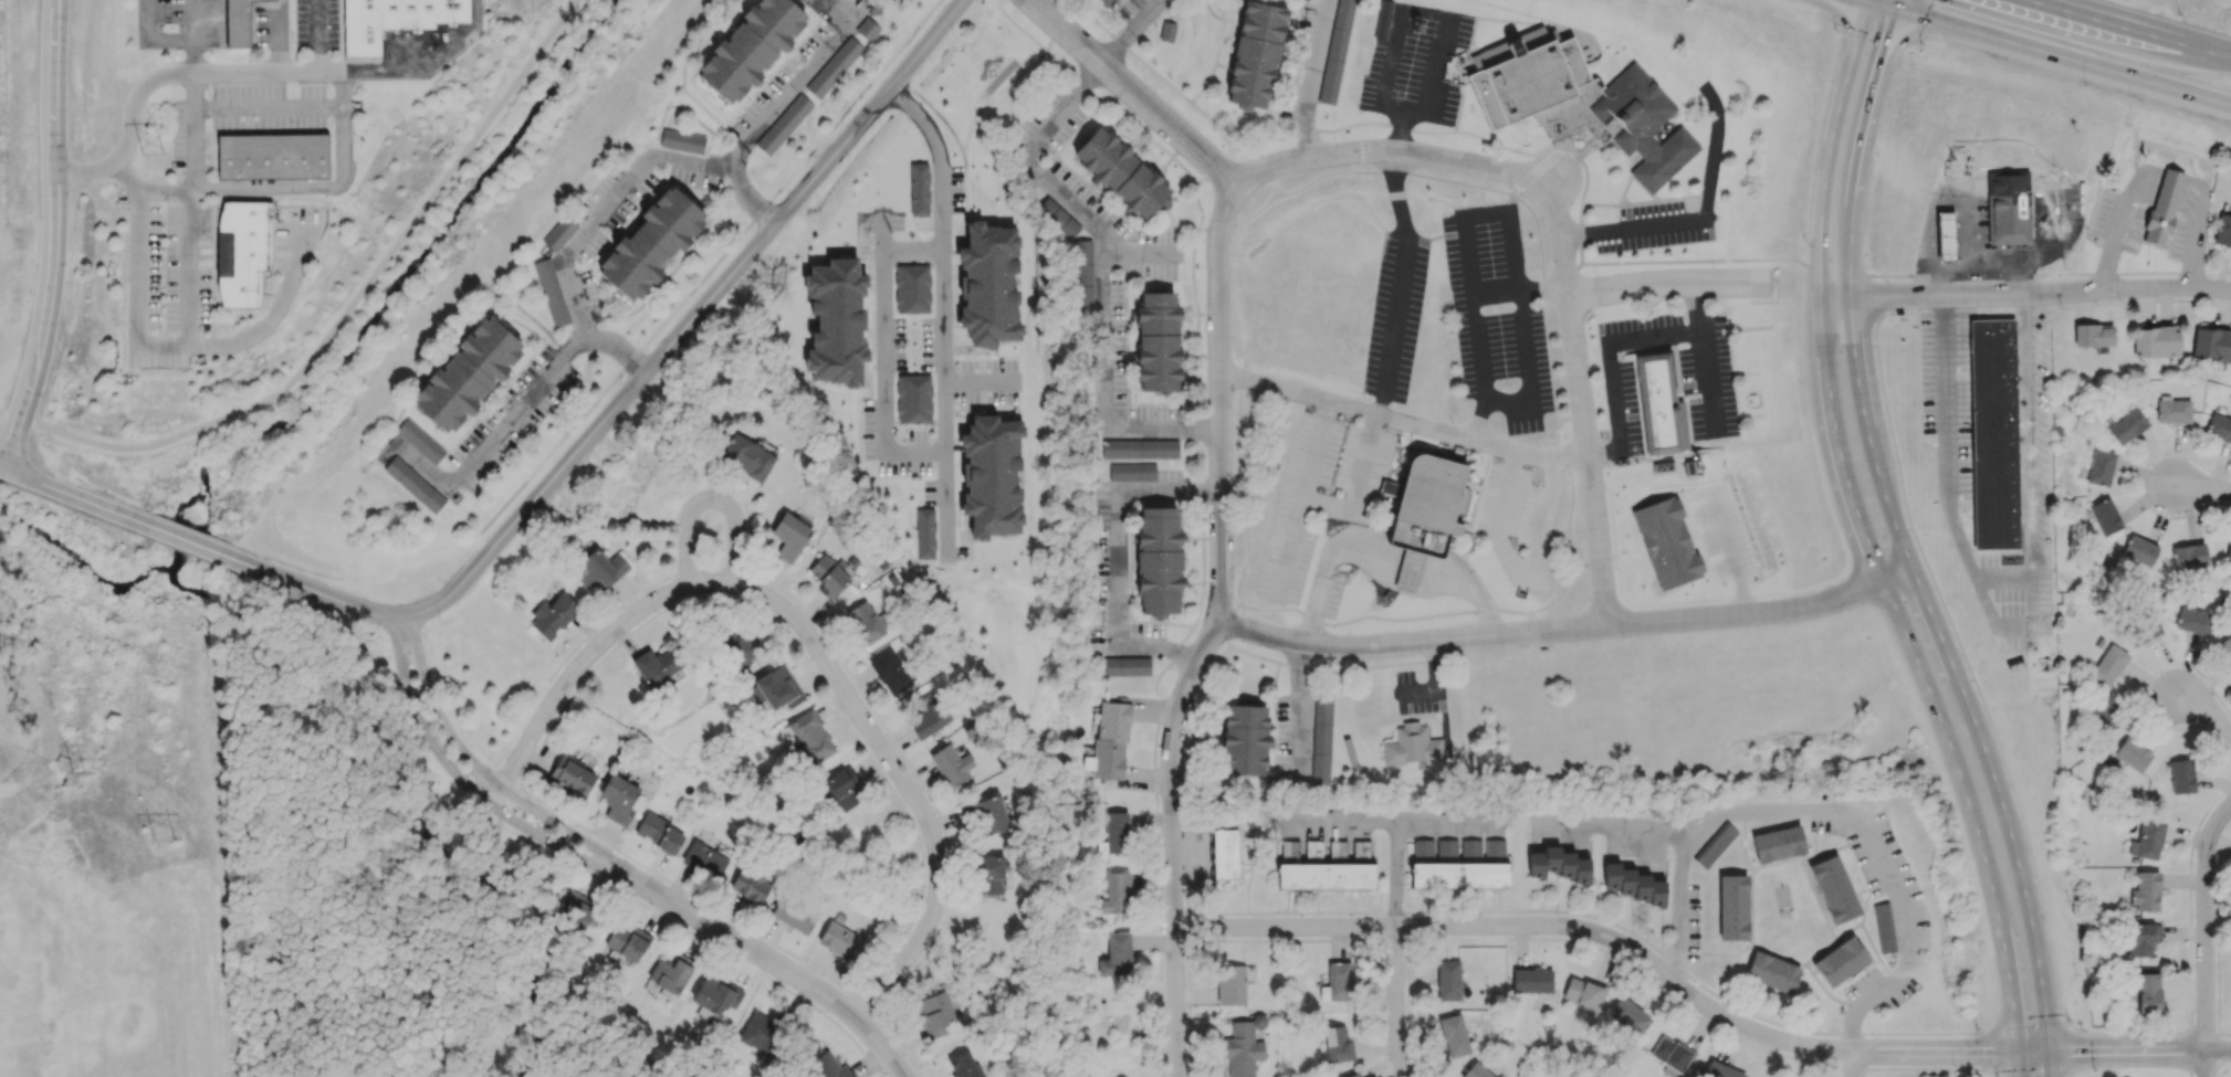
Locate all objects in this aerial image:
road: (893, 1)
road: (1865, 1)
road: (1869, 1)
building: (1107, 2)
traffic signals: (1869, 2)
road: (1897, 4)
traffic signals: (1896, 10)
road: (841, 11)
road: (863, 11)
road: (193, 18)
building: (1382, 19)
building: (392, 20)
building: (237, 23)
building: (867, 29)
road: (2127, 29)
building: (1166, 31)
road: (155, 35)
road: (316, 35)
building: (750, 47)
building: (1337, 51)
road: (2050, 52)
road: (195, 54)
building: (1255, 54)
road: (426, 64)
park: (999, 64)
building: (834, 67)
road: (1313, 74)
road: (167, 75)
road: (795, 98)
building: (1578, 101)
road: (268, 105)
building: (784, 124)
road: (1355, 124)
building: (682, 140)
road: (1360, 144)
road: (1415, 148)
road: (1857, 150)
power tower: (155, 155)
building: (272, 156)
road: (1266, 161)
road: (1826, 168)
road: (1535, 169)
building: (1120, 171)
road: (1350, 171)
road: (2155, 186)
road: (270, 187)
road: (1275, 188)
building: (919, 189)
road: (1064, 194)
building: (2008, 203)
building: (2162, 207)
building: (1058, 218)
road: (609, 219)
road: (1632, 224)
parking lot: (1652, 226)
road: (881, 230)
park: (423, 231)
building: (558, 233)
building: (1944, 235)
road: (53, 237)
building: (650, 243)
building: (242, 252)
road: (1141, 255)
road: (191, 257)
road: (1686, 262)
road: (712, 267)
road: (1515, 267)
road: (2050, 272)
building: (1082, 274)
road: (1836, 274)
road: (1399, 281)
building: (988, 284)
building: (912, 288)
road: (2025, 291)
building: (551, 292)
road: (2034, 306)
road: (943, 309)
road: (1195, 309)
parking lot: (1393, 314)
road: (345, 316)
parking lot: (1496, 317)
road: (1474, 318)
building: (836, 321)
road: (692, 323)
building: (2093, 335)
building: (1156, 341)
building: (2155, 341)
road: (158, 344)
road: (1611, 344)
building: (2212, 345)
road: (883, 351)
building: (467, 374)
road: (1708, 378)
road: (981, 383)
building: (913, 398)
building: (1662, 401)
road: (1865, 404)
road: (530, 408)
building: (2172, 410)
road: (1402, 423)
building: (2124, 425)
building: (2219, 427)
road: (1161, 432)
building: (1994, 436)
building: (420, 441)
building: (1139, 448)
building: (746, 456)
road: (1590, 457)
road: (2026, 461)
road: (1839, 464)
building: (1662, 465)
building: (1688, 467)
building: (2101, 467)
building: (1131, 471)
building: (992, 476)
road: (1946, 477)
building: (413, 484)
road: (1357, 486)
road: (2201, 486)
road: (62, 492)
road: (710, 496)
road: (1303, 496)
building: (1426, 503)
building: (2105, 516)
building: (790, 534)
building: (934, 539)
road: (187, 540)
road: (1899, 541)
building: (2229, 549)
building: (2139, 550)
road: (1728, 553)
building: (2189, 556)
road: (1119, 559)
building: (1156, 559)
road: (1327, 563)
road: (1411, 567)
building: (599, 568)
road: (1517, 569)
building: (1408, 570)
building: (828, 576)
road: (1474, 588)
road: (325, 594)
building: (554, 615)
building: (2192, 620)
building: (862, 623)
road: (1219, 629)
road: (1567, 630)
building: (2143, 631)
road: (813, 642)
building: (2225, 647)
road: (1942, 652)
building: (656, 665)
building: (2108, 665)
building: (1127, 666)
road: (1970, 671)
building: (889, 672)
road: (1435, 684)
building: (778, 688)
road: (1299, 708)
road: (2207, 708)
building: (2105, 712)
building: (928, 715)
road: (1941, 724)
building: (810, 737)
building: (1321, 738)
building: (1111, 739)
building: (1243, 741)
building: (1412, 745)
building: (2132, 754)
building: (951, 764)
road: (473, 767)
power tower: (78, 771)
building: (572, 774)
building: (2181, 775)
road: (458, 778)
building: (842, 788)
building: (618, 799)
road: (505, 802)
building: (985, 814)
road: (1393, 820)
road: (497, 821)
road: (1834, 821)
road: (1615, 825)
building: (1115, 832)
building: (659, 833)
power tower: (170, 834)
building: (2147, 840)
building: (1778, 843)
building: (1715, 845)
building: (1446, 846)
building: (1470, 846)
building: (1423, 847)
building: (1223, 853)
building: (704, 859)
building: (1558, 864)
building: (989, 874)
road: (1395, 874)
building: (1458, 875)
building: (1324, 876)
building: (1633, 884)
building: (751, 885)
building: (1833, 888)
road: (2024, 889)
building: (2146, 891)
building: (1115, 893)
building: (1732, 907)
building: (578, 910)
building: (794, 912)
road: (1431, 927)
building: (1883, 928)
road: (700, 937)
building: (2141, 938)
building: (840, 940)
road: (2206, 940)
building: (627, 942)
road: (547, 948)
building: (1115, 954)
road: (2011, 960)
road: (763, 961)
building: (1840, 961)
building: (1771, 972)
building: (673, 974)
building: (1448, 980)
building: (1531, 980)
building: (1337, 982)
building: (1230, 984)
building: (1584, 992)
building: (2148, 992)
building: (718, 993)
road: (1401, 1002)
building: (933, 1014)
building: (1627, 1016)
road: (736, 1021)
road: (1821, 1031)
road: (2023, 1031)
road: (2223, 1032)
road: (2125, 1033)
road: (2200, 1033)
building: (766, 1034)
building: (1453, 1035)
building: (1337, 1044)
building: (1242, 1049)
road: (1982, 1049)
road: (1848, 1052)
road: (2140, 1052)
traffic signals: (2022, 1053)
traffic signals: (2050, 1053)
building: (1672, 1055)
road: (651, 1062)
road: (633, 1063)
building: (820, 1064)
road: (2050, 1064)
building: (963, 1065)
road: (1851, 1065)
road: (2022, 1065)
road: (2134, 1065)
road: (2223, 1065)
road: (2203, 1066)
building: (1720, 1070)
road: (2036, 1070)
building: (1475, 1071)
building: (1352, 1075)

